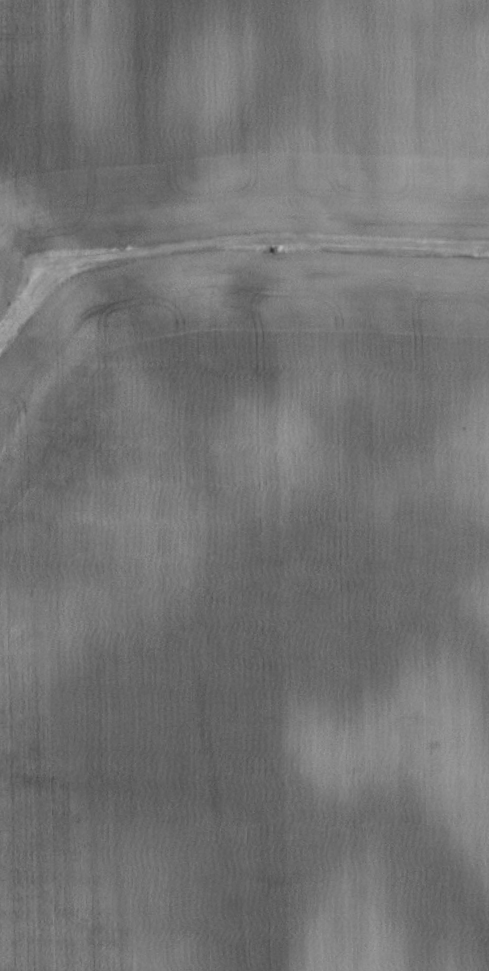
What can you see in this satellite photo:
road: (264, 235)
road: (21, 292)

